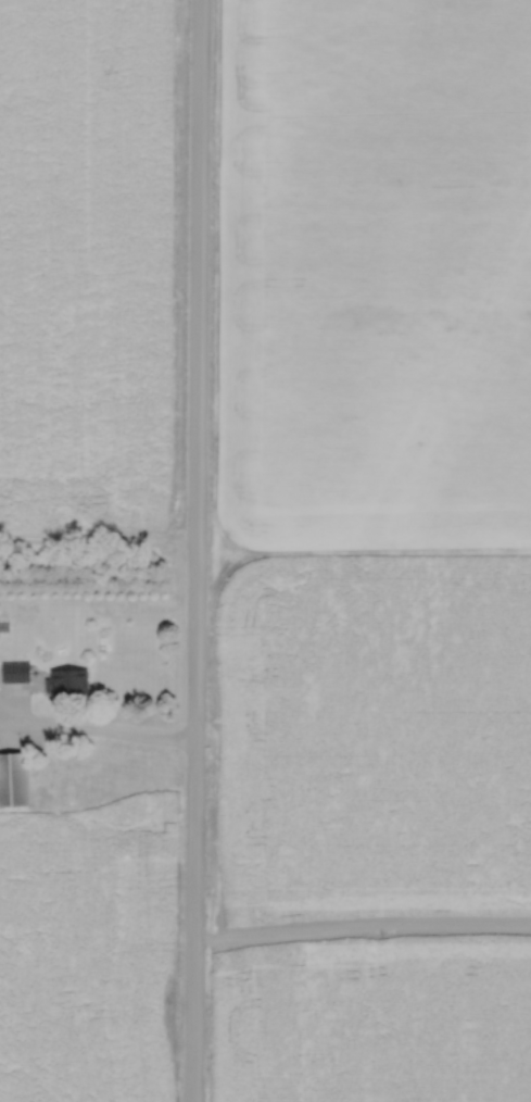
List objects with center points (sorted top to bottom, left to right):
road: (194, 550)
building: (48, 679)
road: (96, 732)
building: (15, 779)
road: (361, 932)

